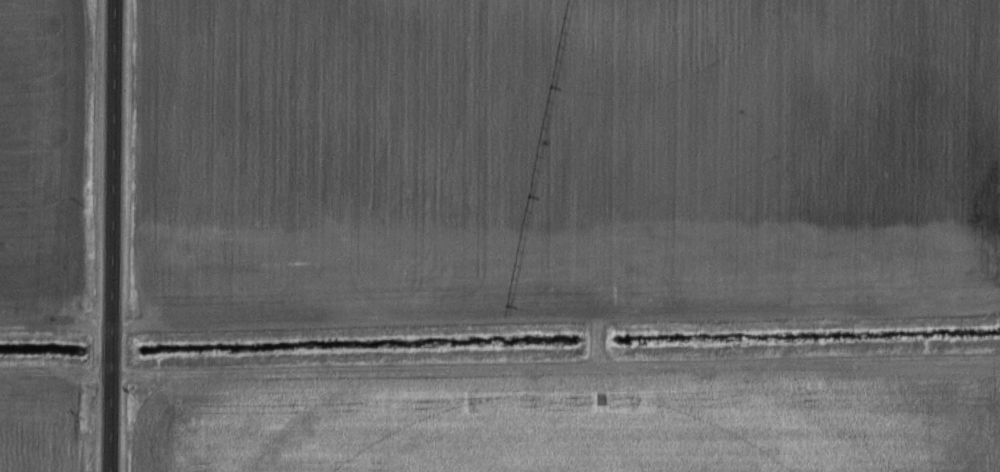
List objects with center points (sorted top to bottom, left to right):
road: (111, 236)

